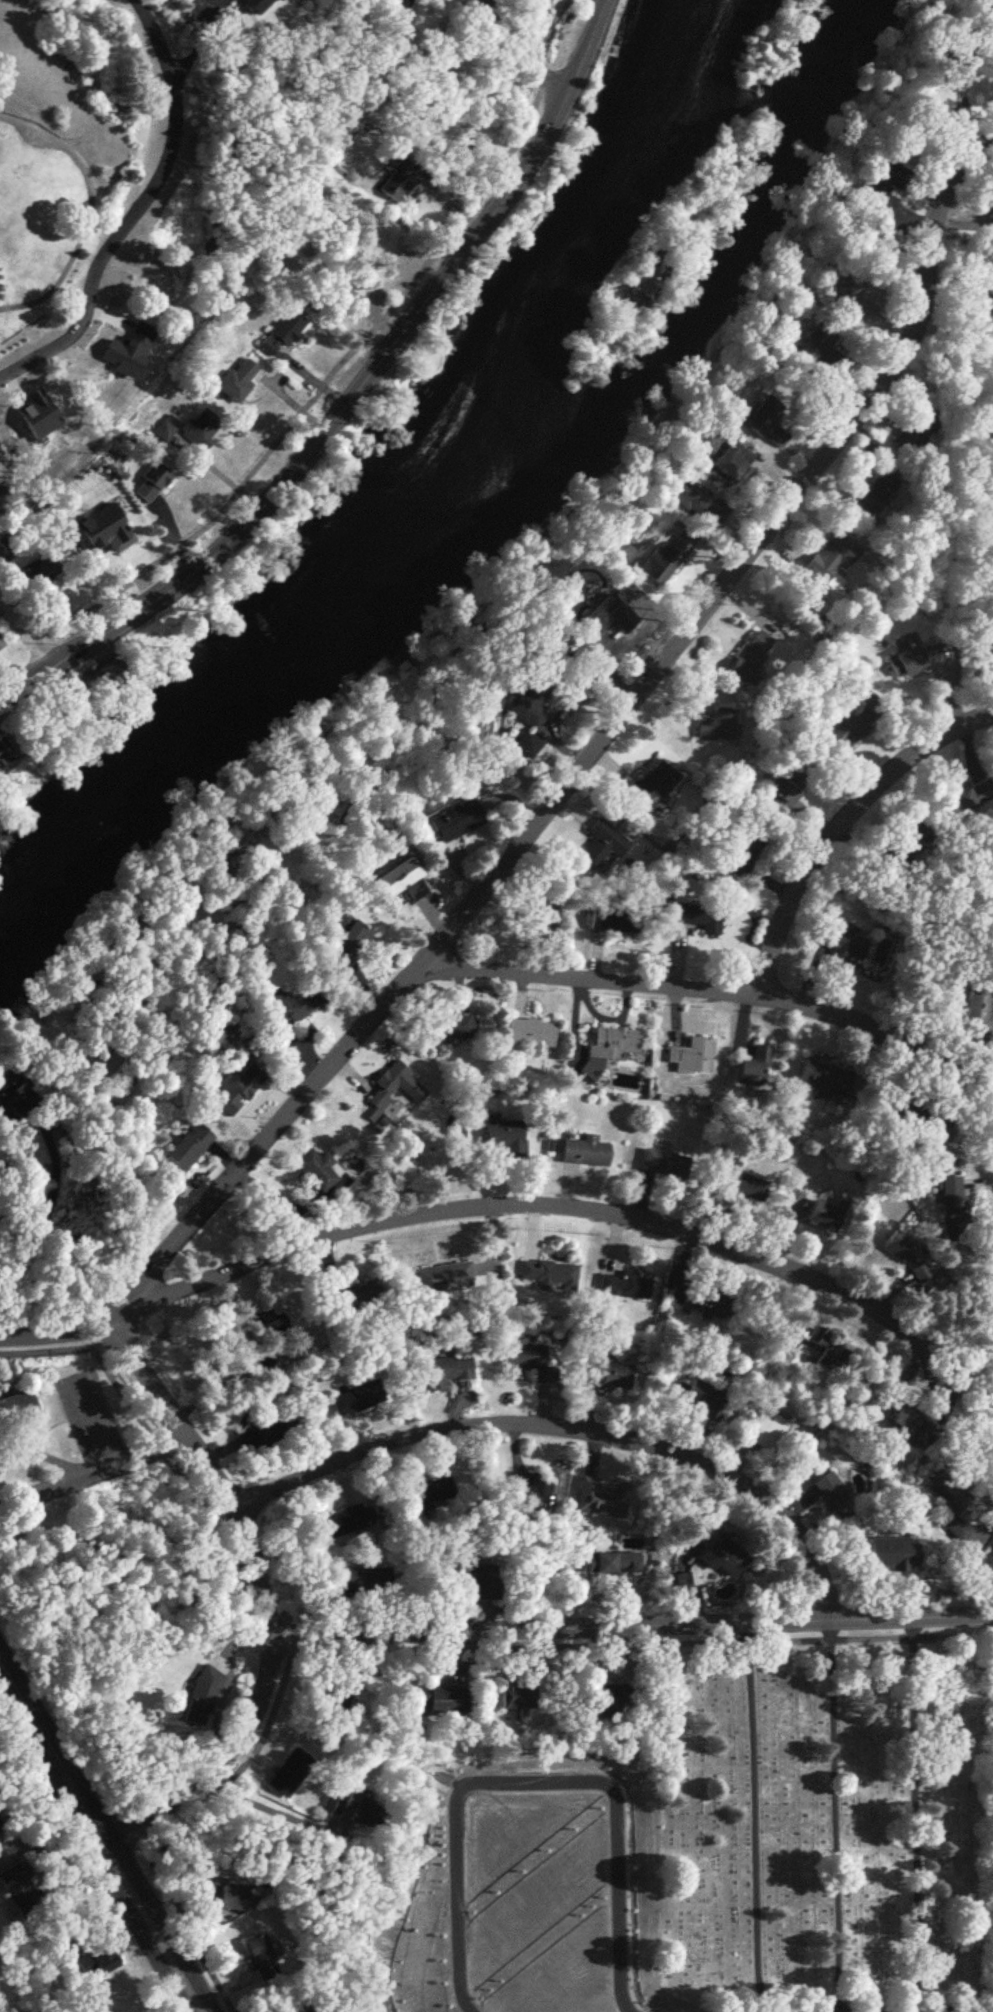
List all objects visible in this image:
building: (253, 5)
building: (392, 16)
road: (199, 40)
building: (958, 46)
road: (525, 54)
building: (397, 181)
building: (883, 187)
road: (141, 209)
building: (844, 290)
building: (863, 308)
building: (280, 333)
building: (812, 344)
road: (350, 349)
building: (119, 357)
building: (236, 380)
road: (353, 395)
building: (765, 421)
building: (916, 425)
building: (201, 426)
building: (731, 459)
building: (150, 482)
building: (873, 494)
building: (697, 503)
river: (416, 510)
building: (12, 544)
building: (661, 557)
building: (830, 557)
building: (41, 570)
road: (24, 600)
building: (605, 616)
road: (24, 632)
building: (749, 656)
building: (913, 658)
building: (101, 675)
building: (529, 695)
building: (717, 725)
building: (842, 730)
road: (597, 745)
building: (3, 750)
building: (789, 783)
building: (654, 784)
building: (967, 796)
building: (453, 818)
road: (842, 824)
building: (907, 847)
building: (742, 849)
building: (597, 855)
building: (394, 882)
building: (699, 917)
building: (614, 918)
building: (538, 920)
building: (840, 941)
building: (345, 944)
road: (715, 990)
building: (977, 1012)
building: (451, 1025)
building: (529, 1032)
building: (275, 1035)
building: (609, 1045)
building: (692, 1055)
building: (750, 1071)
building: (823, 1077)
building: (395, 1085)
building: (238, 1086)
building: (10, 1097)
building: (921, 1116)
building: (504, 1135)
building: (186, 1147)
building: (584, 1151)
building: (666, 1163)
building: (317, 1169)
building: (739, 1180)
road: (515, 1204)
building: (952, 1208)
road: (41, 1209)
building: (824, 1215)
building: (897, 1246)
building: (548, 1272)
building: (444, 1276)
building: (626, 1284)
building: (353, 1295)
building: (706, 1301)
road: (46, 1351)
building: (820, 1351)
building: (521, 1356)
building: (444, 1372)
building: (607, 1376)
building: (357, 1398)
building: (705, 1398)
building: (17, 1412)
road: (573, 1426)
building: (764, 1432)
building: (258, 1436)
building: (829, 1490)
building: (427, 1492)
building: (533, 1495)
building: (603, 1498)
building: (952, 1504)
building: (345, 1520)
building: (889, 1553)
building: (721, 1556)
building: (992, 1556)
building: (613, 1562)
building: (365, 1578)
building: (477, 1578)
building: (411, 1579)
road: (264, 1595)
road: (633, 1629)
road: (436, 1650)
building: (517, 1696)
building: (197, 1698)
building: (437, 1698)
building: (610, 1699)
building: (289, 1772)
road: (254, 1802)
building: (356, 1809)
road: (918, 1816)
road: (836, 1818)
road: (753, 1819)
building: (2, 1825)
park: (822, 1825)
road: (171, 1827)
road: (102, 1838)
building: (24, 1889)
building: (224, 1896)
building: (260, 1957)
building: (108, 1960)
building: (315, 2009)

